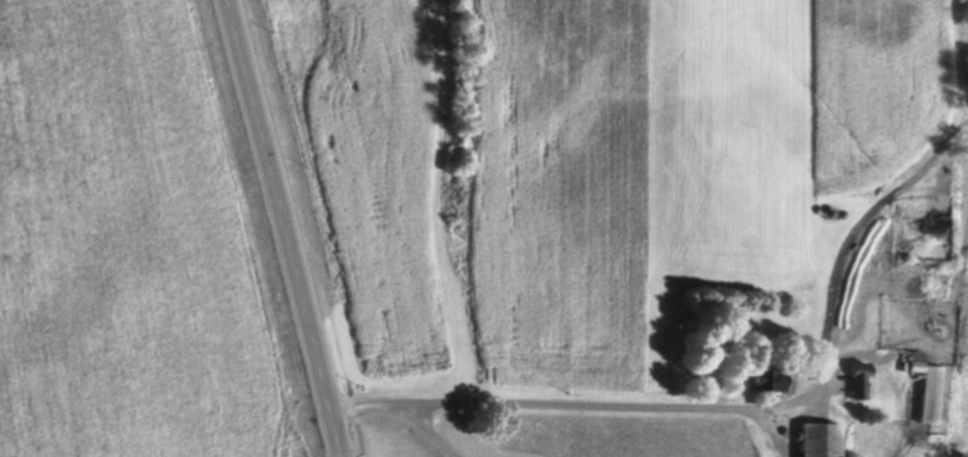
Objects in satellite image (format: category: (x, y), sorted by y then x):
road: (284, 228)
building: (867, 294)
building: (905, 296)
building: (759, 382)
building: (854, 384)
building: (929, 397)
road: (736, 411)
road: (430, 431)
building: (815, 442)

